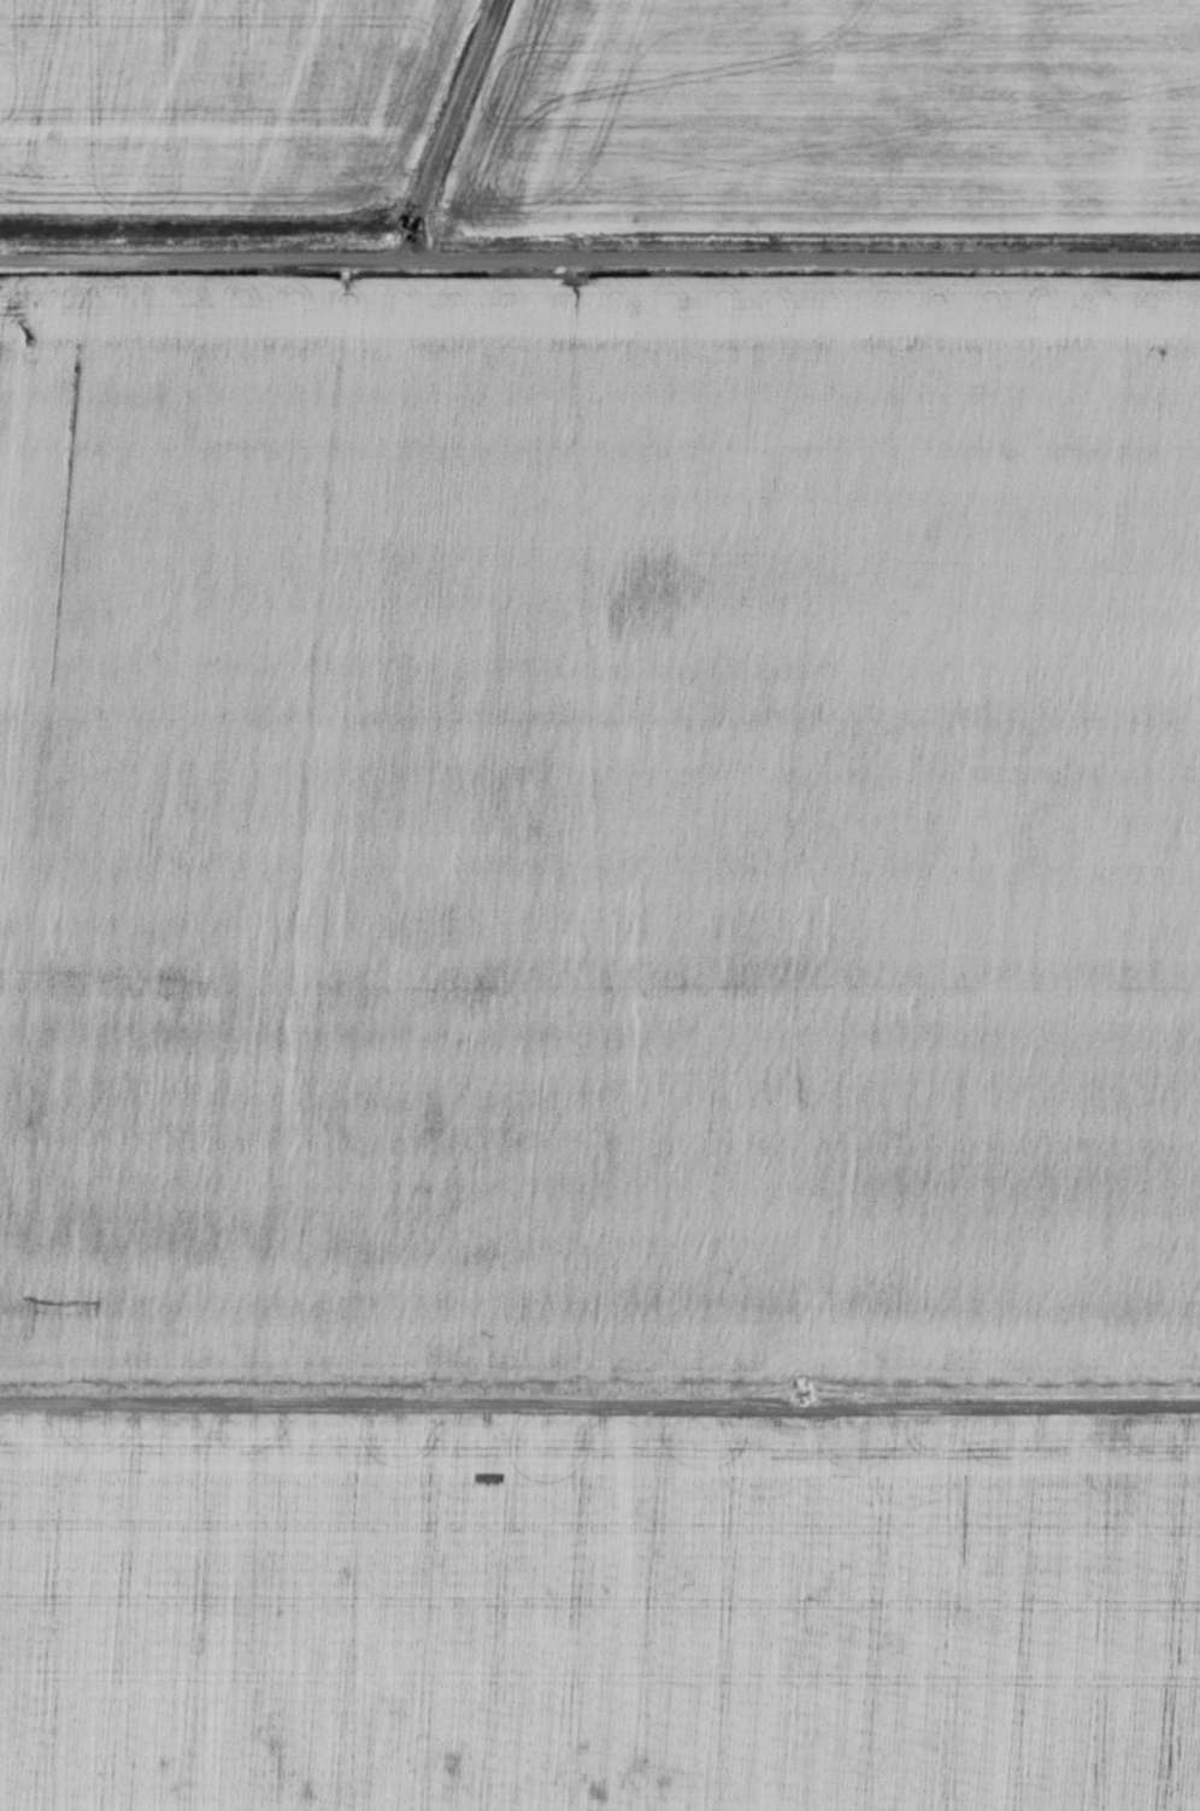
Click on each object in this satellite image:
road: (446, 125)
road: (599, 254)

